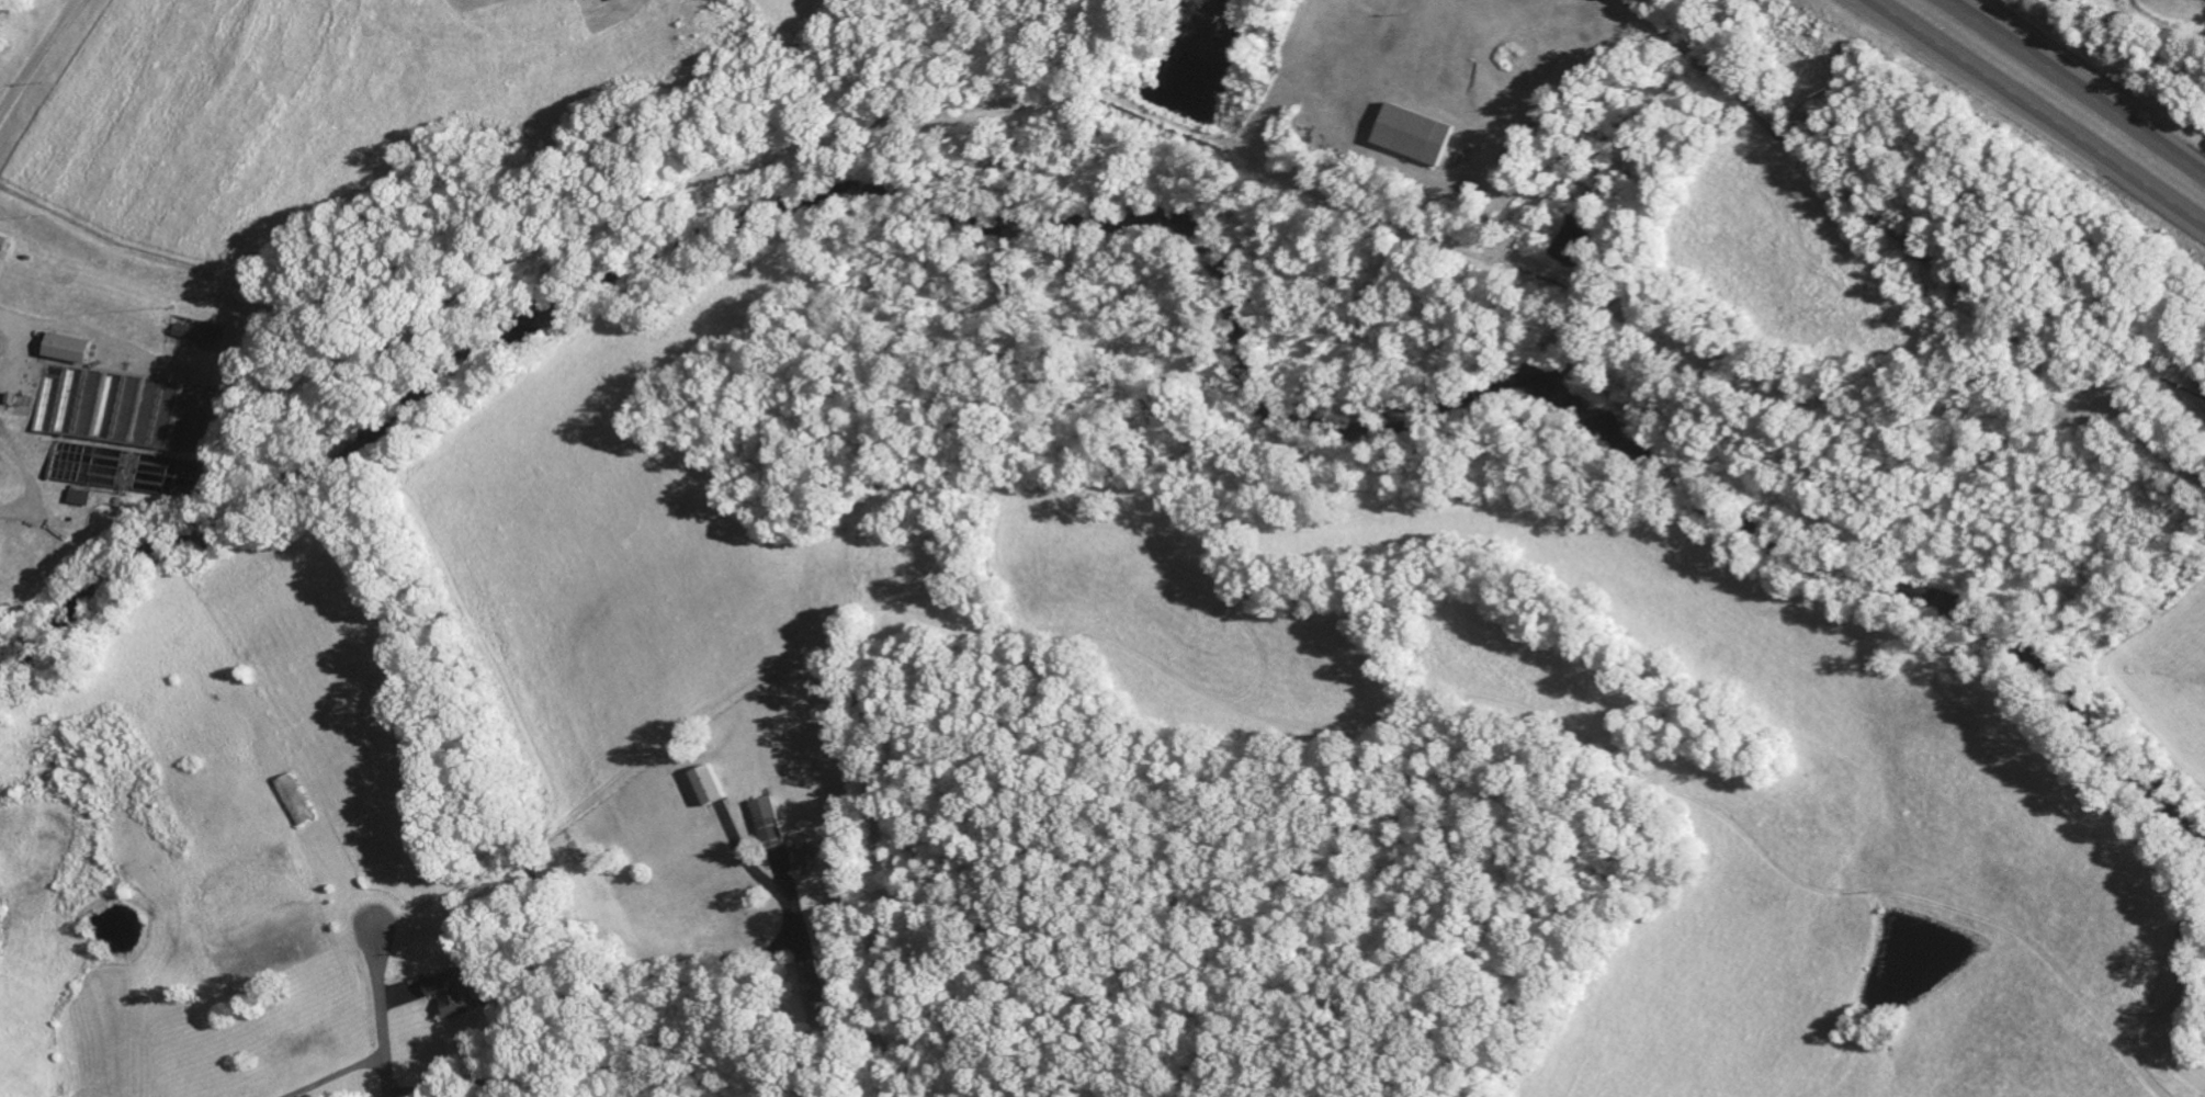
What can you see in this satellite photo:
building: (2173, 0)
building: (614, 1)
road: (2077, 86)
road: (2038, 111)
building: (1413, 137)
road: (1908, 244)
building: (2, 247)
building: (194, 337)
building: (66, 351)
building: (79, 500)
building: (710, 789)
building: (291, 800)
building: (768, 826)
building: (807, 864)
building: (815, 989)
building: (452, 996)
road: (385, 1027)

